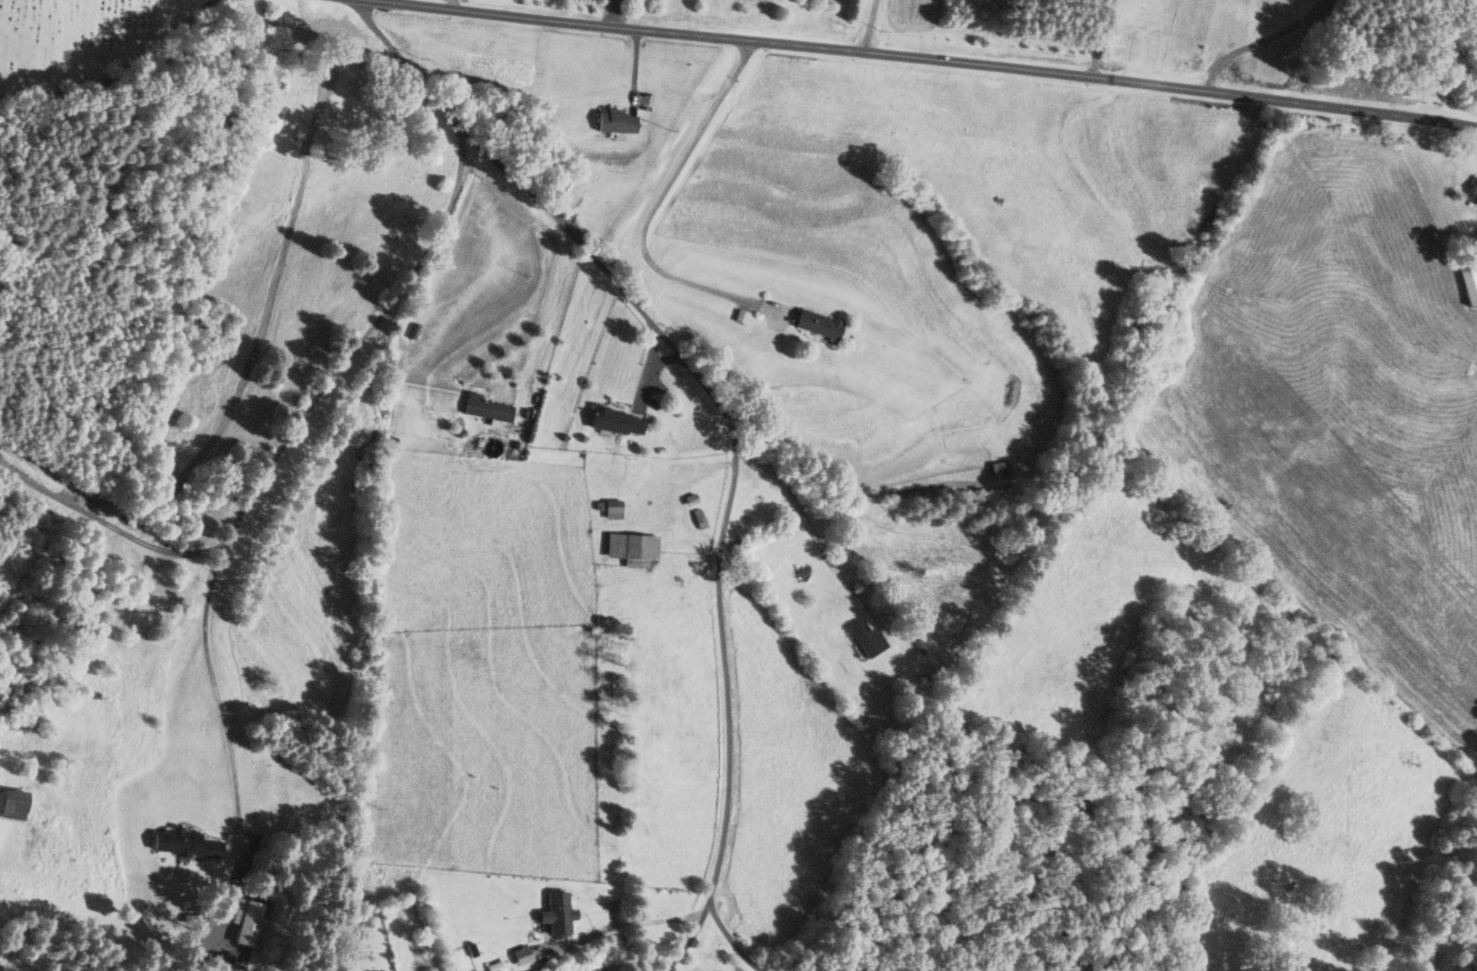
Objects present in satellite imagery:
road: (453, 3)
road: (614, 10)
road: (1097, 39)
road: (1258, 40)
park: (85, 44)
road: (922, 59)
building: (340, 70)
building: (616, 121)
building: (1474, 192)
road: (652, 203)
building: (1469, 280)
road: (556, 316)
building: (818, 324)
building: (488, 410)
building: (617, 422)
road: (726, 423)
building: (999, 468)
road: (242, 504)
building: (613, 513)
building: (698, 518)
road: (107, 523)
road: (810, 527)
building: (631, 548)
building: (866, 638)
building: (13, 803)
building: (184, 842)
building: (246, 920)
road: (617, 924)
road: (731, 941)

